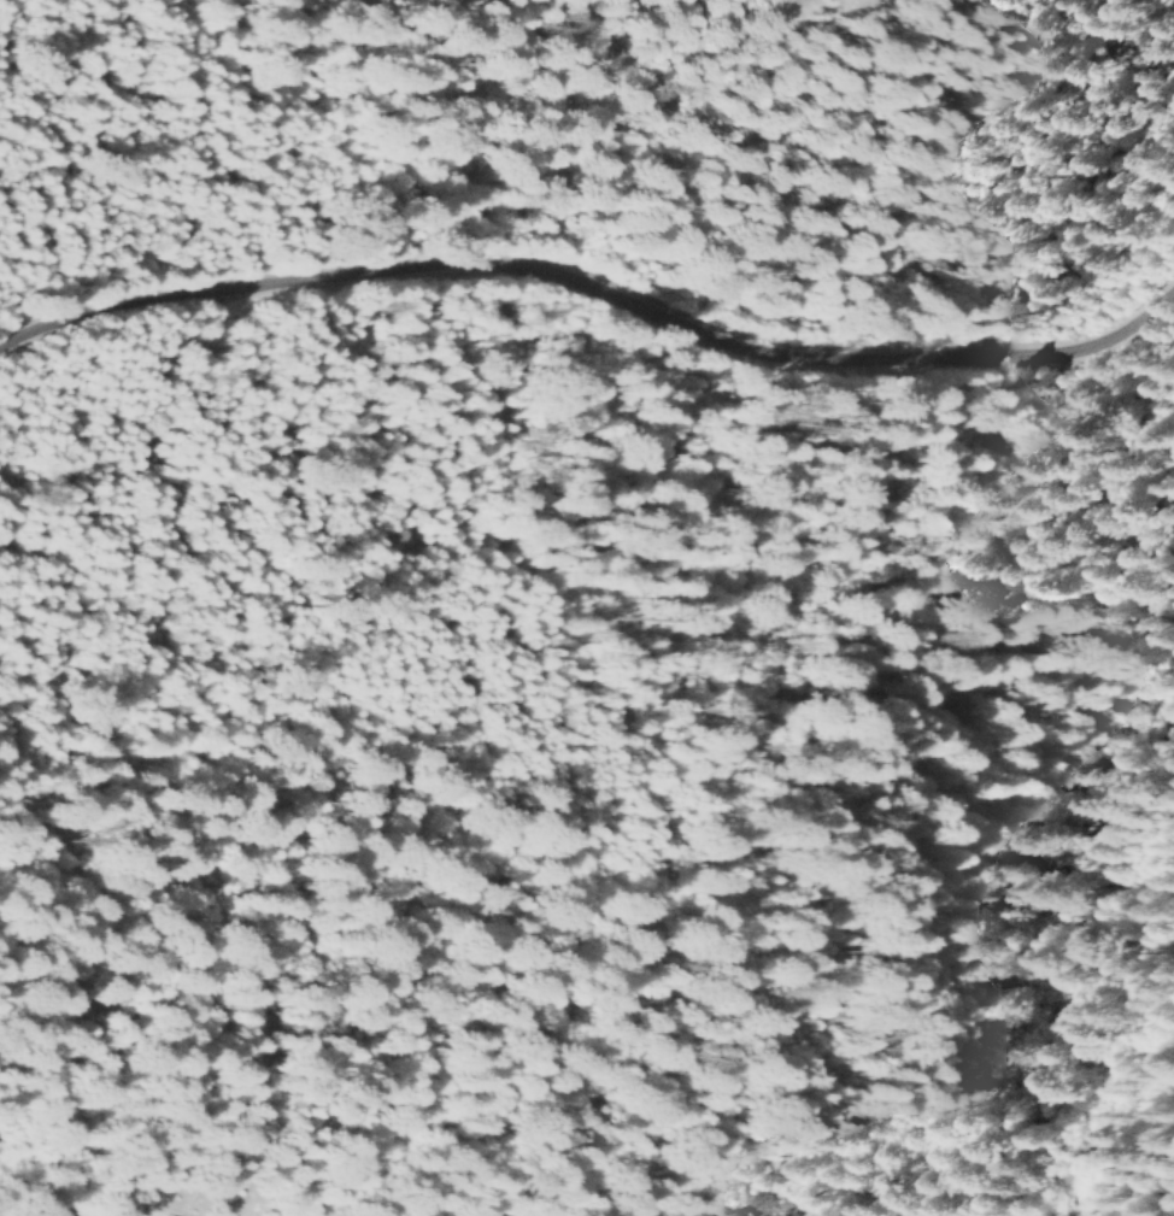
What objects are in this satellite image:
road: (588, 300)
road: (835, 1075)

